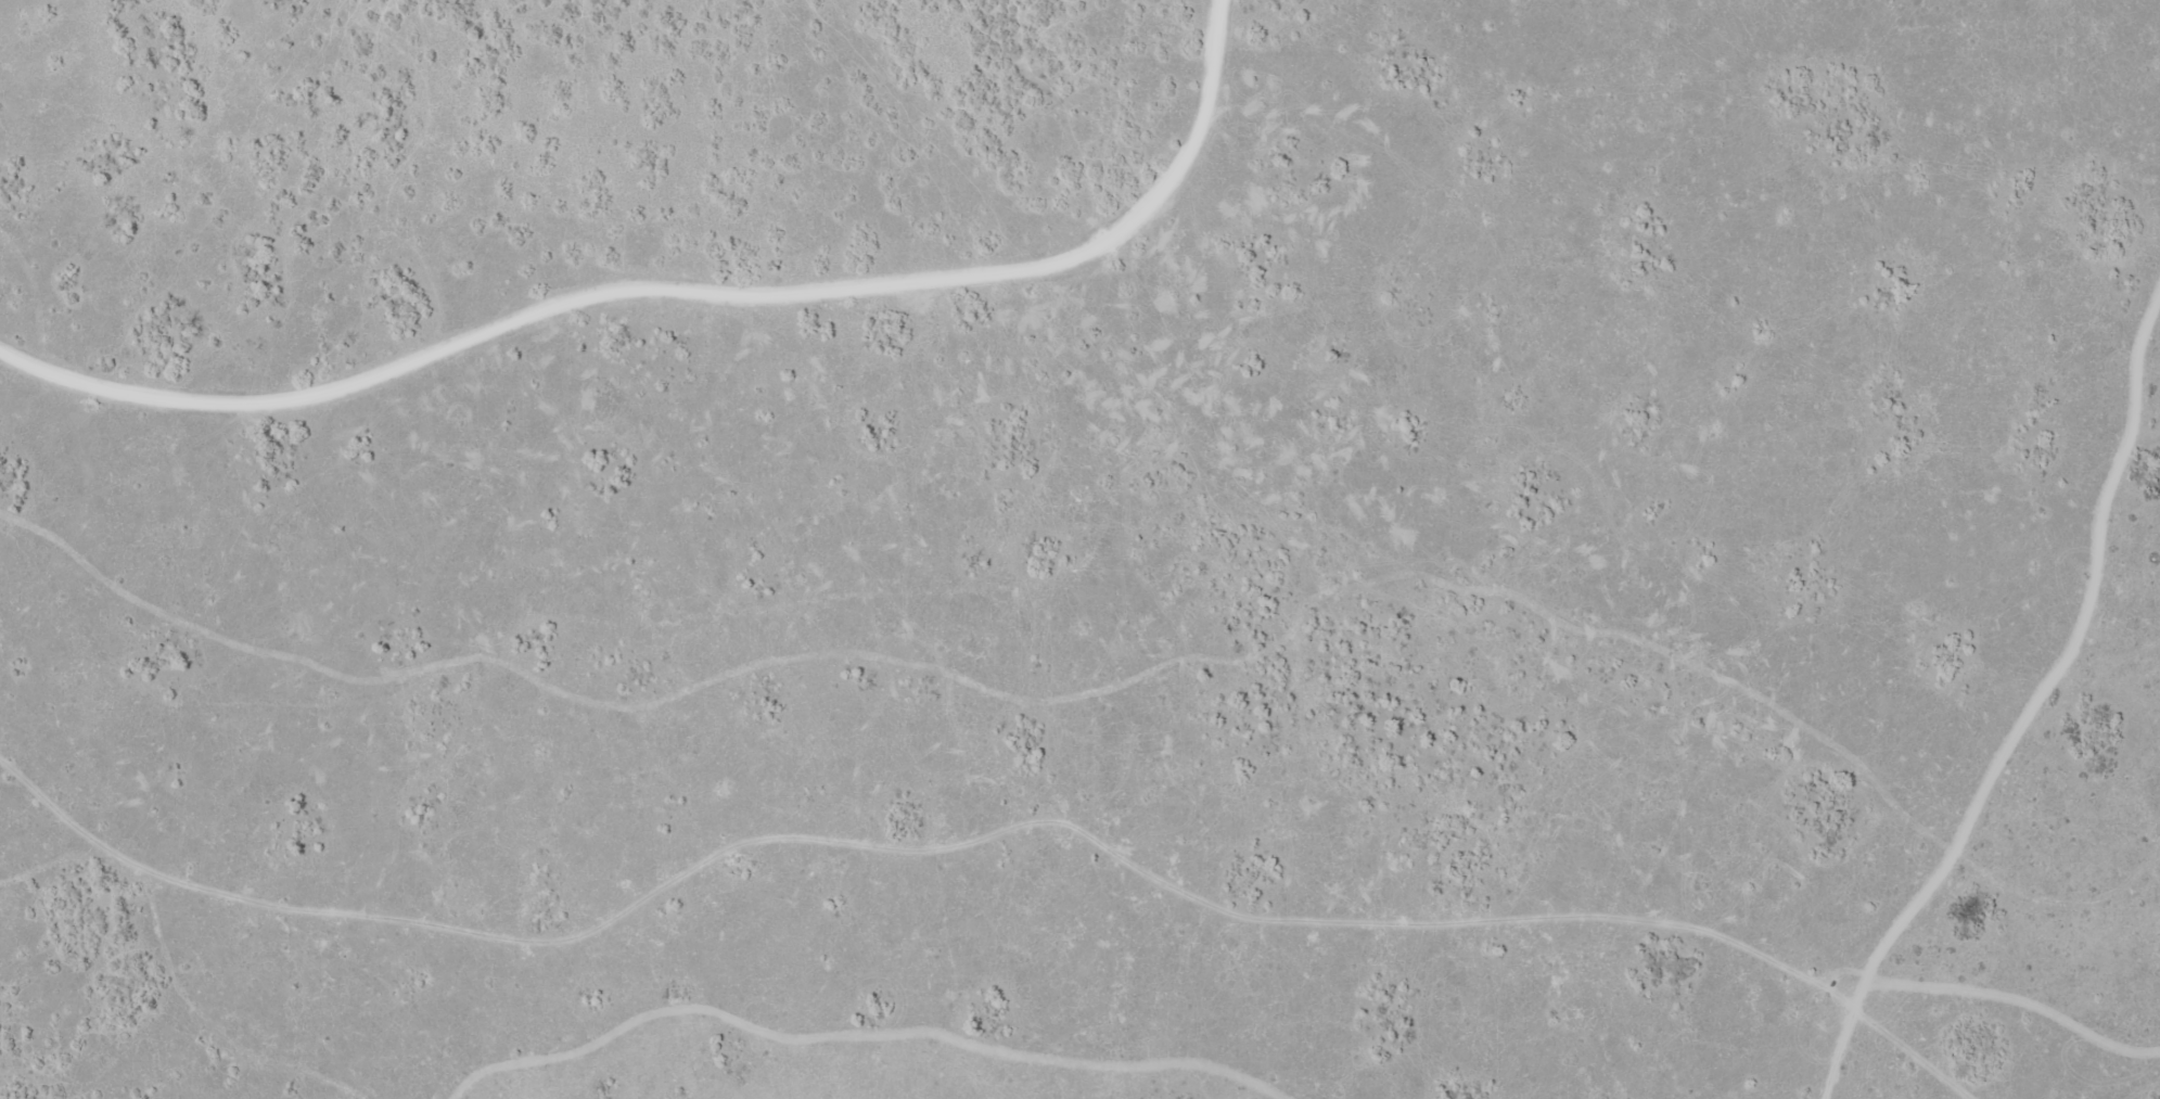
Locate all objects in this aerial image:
road: (681, 293)

